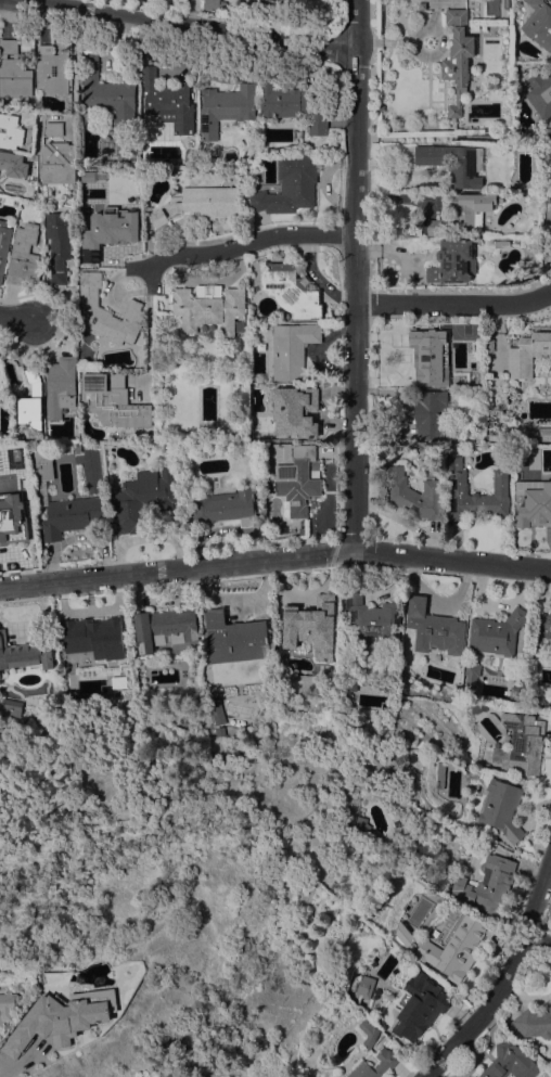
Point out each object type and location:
building: (281, 0)
building: (550, 0)
building: (215, 4)
building: (266, 4)
building: (422, 5)
building: (539, 23)
road: (192, 25)
building: (458, 57)
road: (73, 65)
building: (52, 69)
building: (13, 70)
building: (540, 93)
building: (107, 94)
building: (168, 101)
building: (294, 104)
building: (226, 107)
building: (381, 107)
building: (550, 124)
building: (54, 128)
building: (11, 131)
building: (548, 131)
building: (191, 155)
building: (454, 162)
building: (59, 163)
building: (13, 164)
building: (290, 185)
building: (9, 201)
building: (200, 204)
building: (464, 214)
building: (110, 215)
building: (548, 231)
road: (251, 241)
building: (500, 243)
building: (3, 245)
building: (59, 245)
building: (25, 254)
building: (452, 261)
road: (355, 274)
building: (292, 290)
road: (453, 304)
building: (209, 308)
building: (107, 312)
road: (15, 317)
road: (148, 322)
building: (489, 345)
building: (292, 349)
building: (527, 354)
building: (428, 357)
building: (467, 380)
building: (60, 385)
building: (30, 400)
building: (112, 402)
building: (295, 410)
building: (431, 413)
building: (543, 433)
building: (500, 436)
building: (23, 448)
building: (77, 448)
building: (210, 449)
building: (297, 479)
building: (474, 493)
building: (415, 495)
building: (144, 497)
building: (59, 500)
building: (225, 507)
building: (533, 507)
building: (13, 528)
road: (274, 557)
building: (374, 619)
building: (311, 626)
building: (163, 627)
building: (434, 628)
building: (544, 631)
building: (496, 633)
building: (94, 634)
building: (235, 638)
building: (24, 653)
building: (550, 655)
building: (471, 678)
building: (458, 688)
building: (348, 690)
building: (542, 696)
building: (73, 697)
building: (11, 704)
building: (478, 708)
building: (217, 710)
building: (219, 731)
building: (521, 744)
building: (440, 774)
building: (502, 808)
building: (364, 825)
building: (486, 885)
building: (403, 933)
road: (539, 938)
building: (397, 950)
building: (454, 950)
road: (508, 980)
building: (364, 986)
building: (417, 1007)
building: (11, 1008)
building: (68, 1017)
building: (534, 1023)
building: (368, 1033)
building: (510, 1062)
building: (375, 1064)
building: (332, 1076)
building: (473, 1076)

